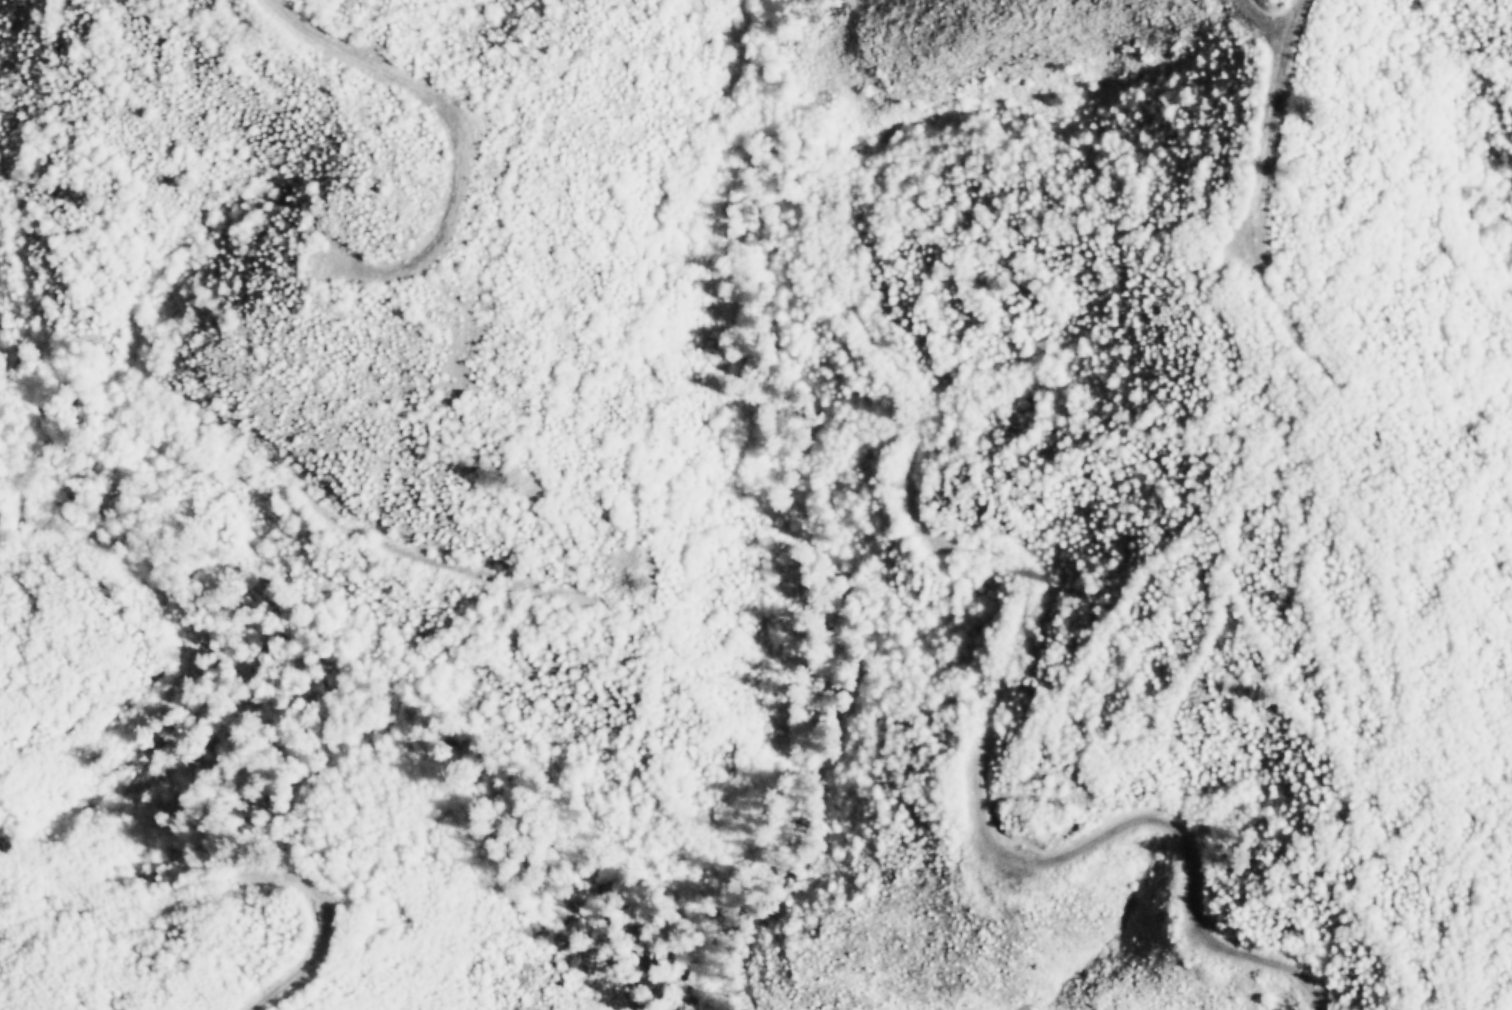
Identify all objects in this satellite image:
road: (1102, 814)
road: (361, 913)

